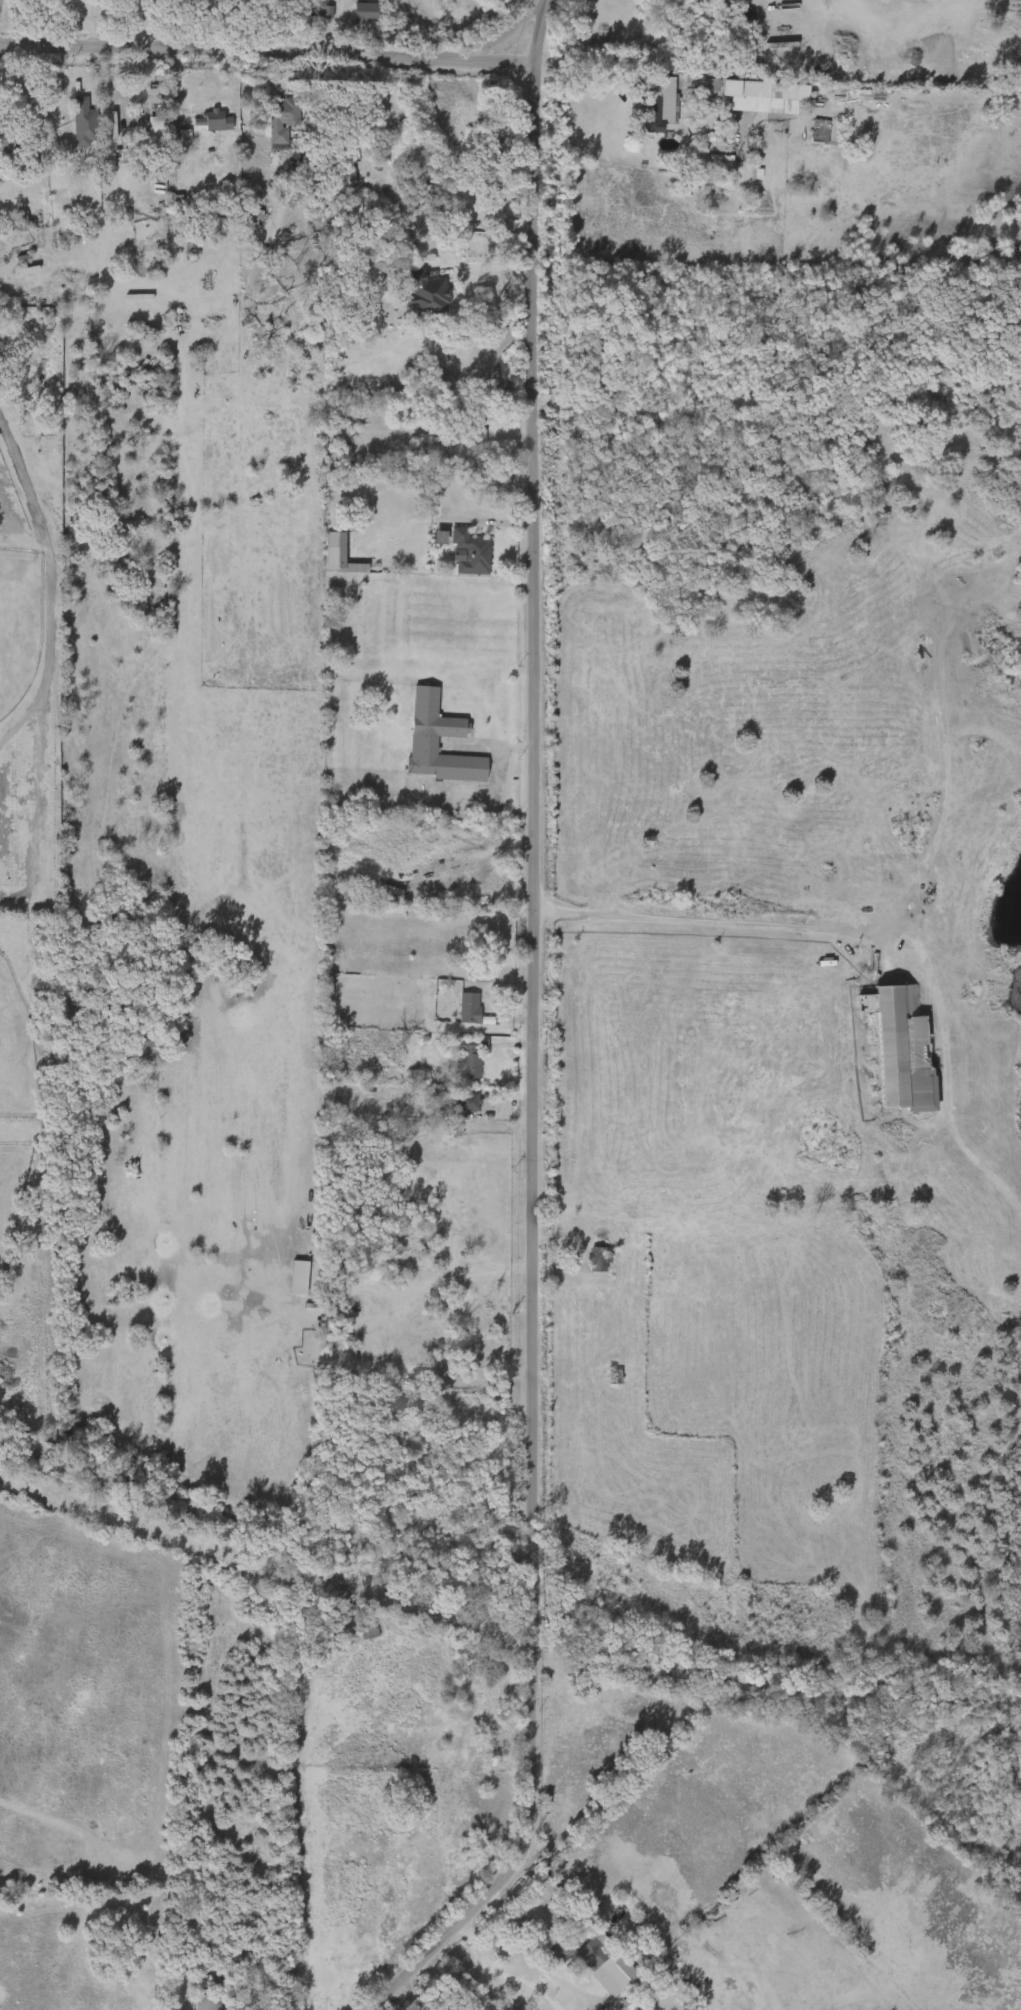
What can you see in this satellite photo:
building: (364, 11)
building: (314, 17)
building: (354, 18)
road: (499, 39)
road: (268, 56)
road: (647, 74)
building: (698, 90)
building: (751, 90)
building: (665, 102)
building: (646, 112)
building: (285, 117)
building: (84, 122)
building: (213, 124)
building: (270, 126)
building: (71, 128)
building: (820, 130)
building: (807, 136)
building: (172, 141)
building: (13, 143)
building: (381, 148)
building: (345, 177)
building: (429, 292)
building: (414, 300)
building: (472, 427)
building: (470, 552)
building: (322, 555)
road: (53, 607)
building: (437, 732)
road: (704, 922)
building: (472, 1010)
building: (457, 1012)
road: (538, 1036)
building: (899, 1045)
building: (468, 1056)
building: (458, 1062)
building: (469, 1102)
building: (457, 1107)
building: (599, 1258)
building: (586, 1263)
building: (286, 1281)
building: (335, 1356)
building: (566, 1943)
building: (622, 1967)
building: (201, 1991)

